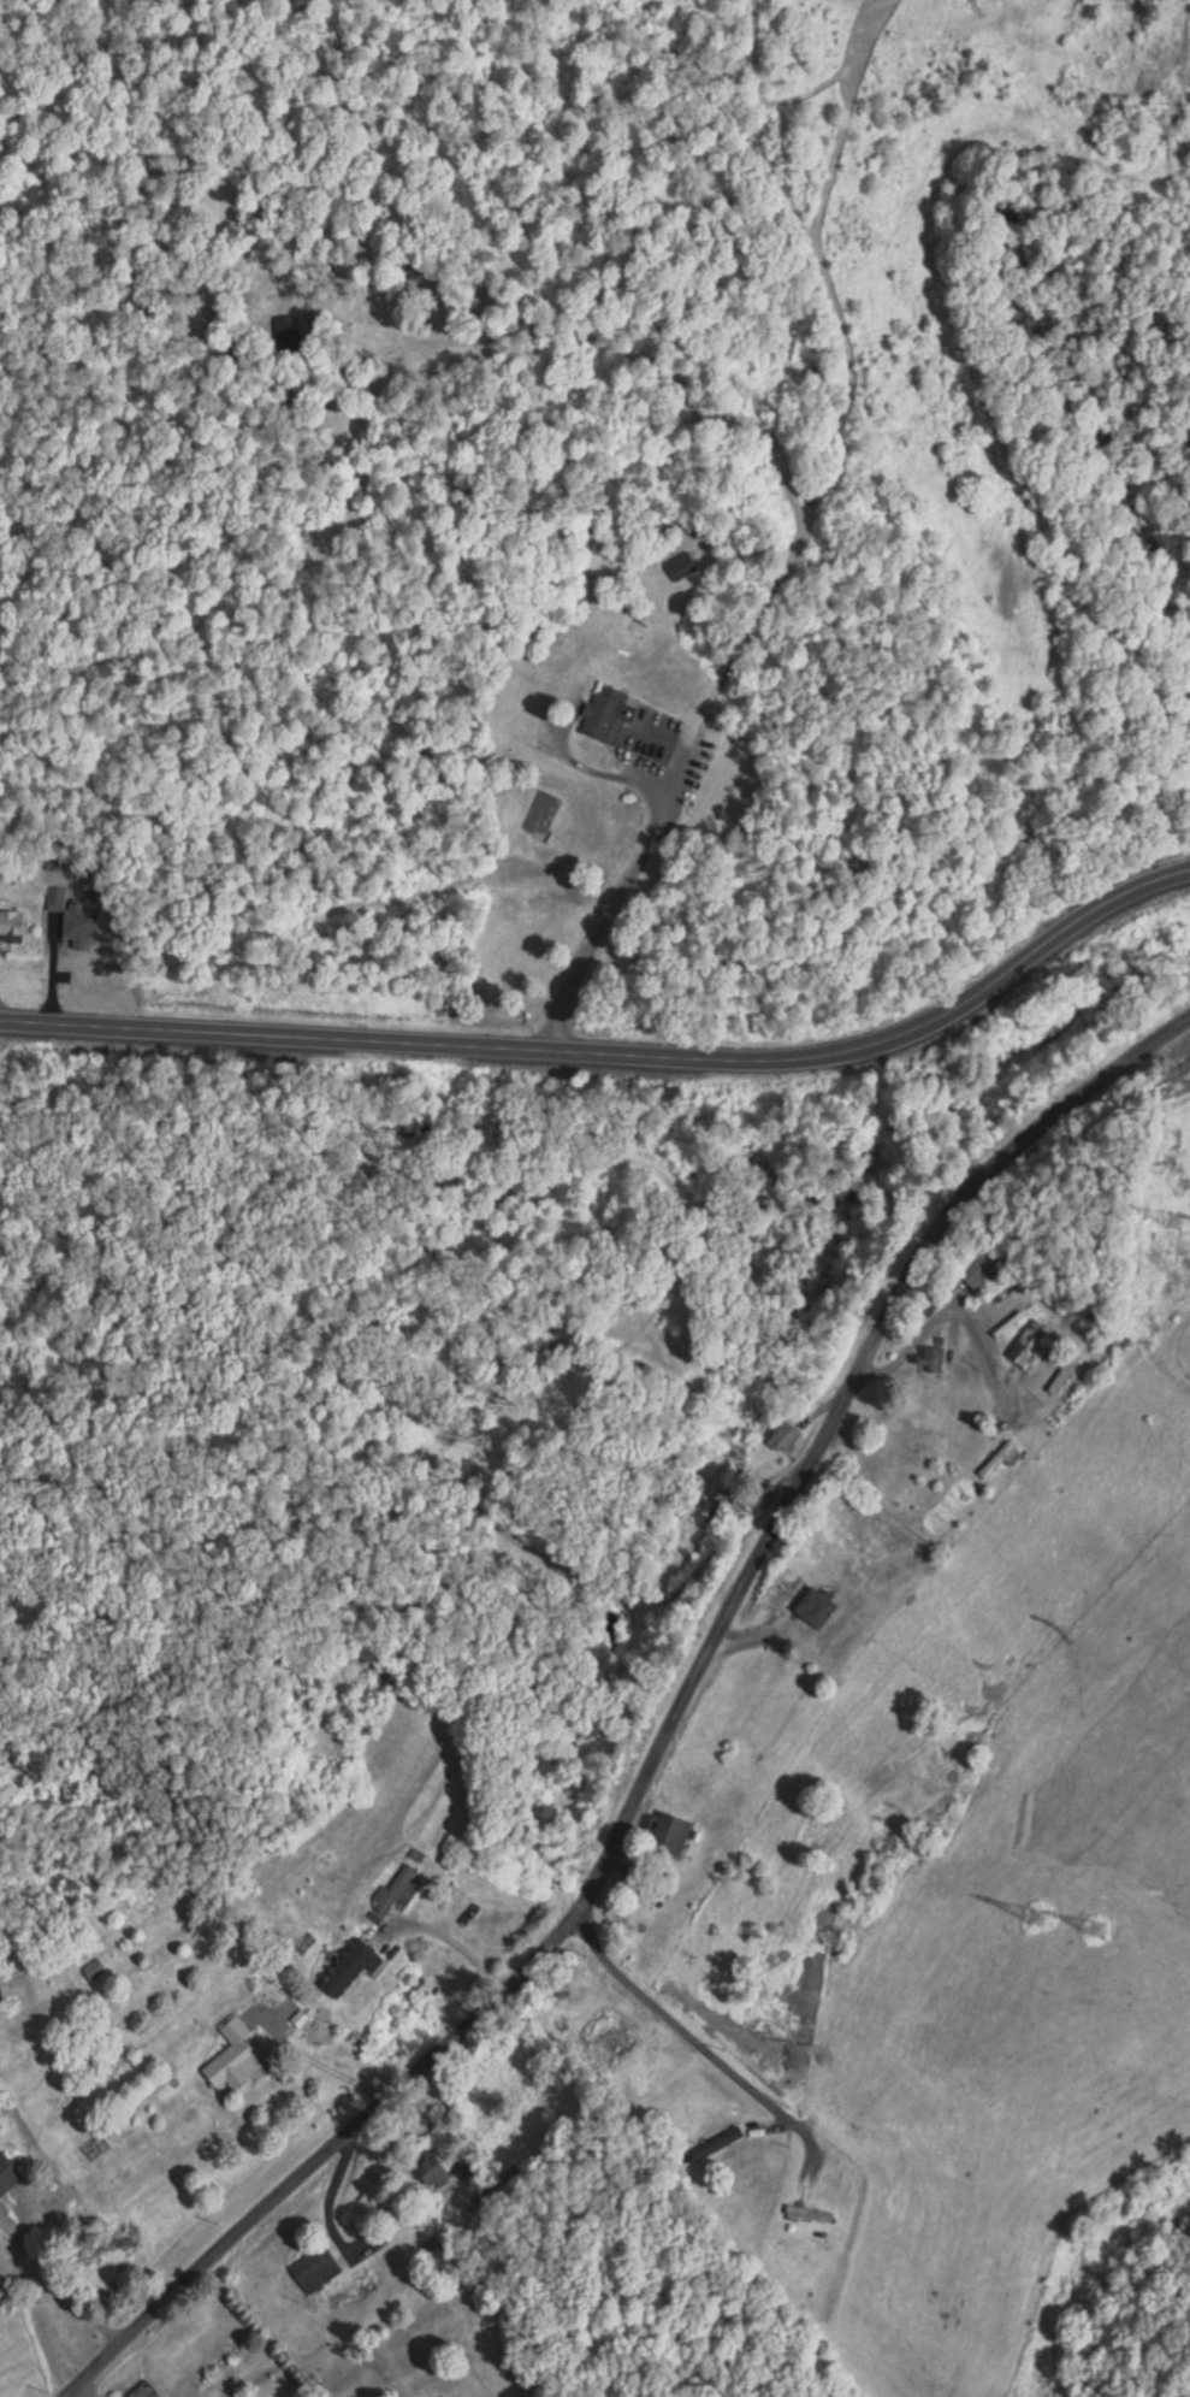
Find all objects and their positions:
building: (682, 566)
building: (608, 714)
road: (616, 903)
building: (76, 922)
building: (12, 925)
road: (618, 1053)
building: (527, 1194)
power tower: (1178, 1214)
building: (983, 1264)
building: (1058, 1300)
building: (1029, 1341)
building: (933, 1357)
building: (1064, 1372)
building: (785, 1436)
building: (999, 1459)
building: (768, 1494)
building: (817, 1606)
road: (670, 1740)
building: (669, 1829)
building: (397, 1889)
building: (1038, 1914)
power tower: (1041, 1918)
power tower: (1102, 1930)
building: (360, 1952)
building: (94, 1967)
road: (683, 2032)
building: (614, 2041)
building: (235, 2055)
road: (319, 2059)
road: (446, 2123)
building: (717, 2142)
building: (8, 2173)
road: (327, 2201)
building: (810, 2213)
building: (316, 2267)
road: (55, 2279)
building: (150, 2396)

